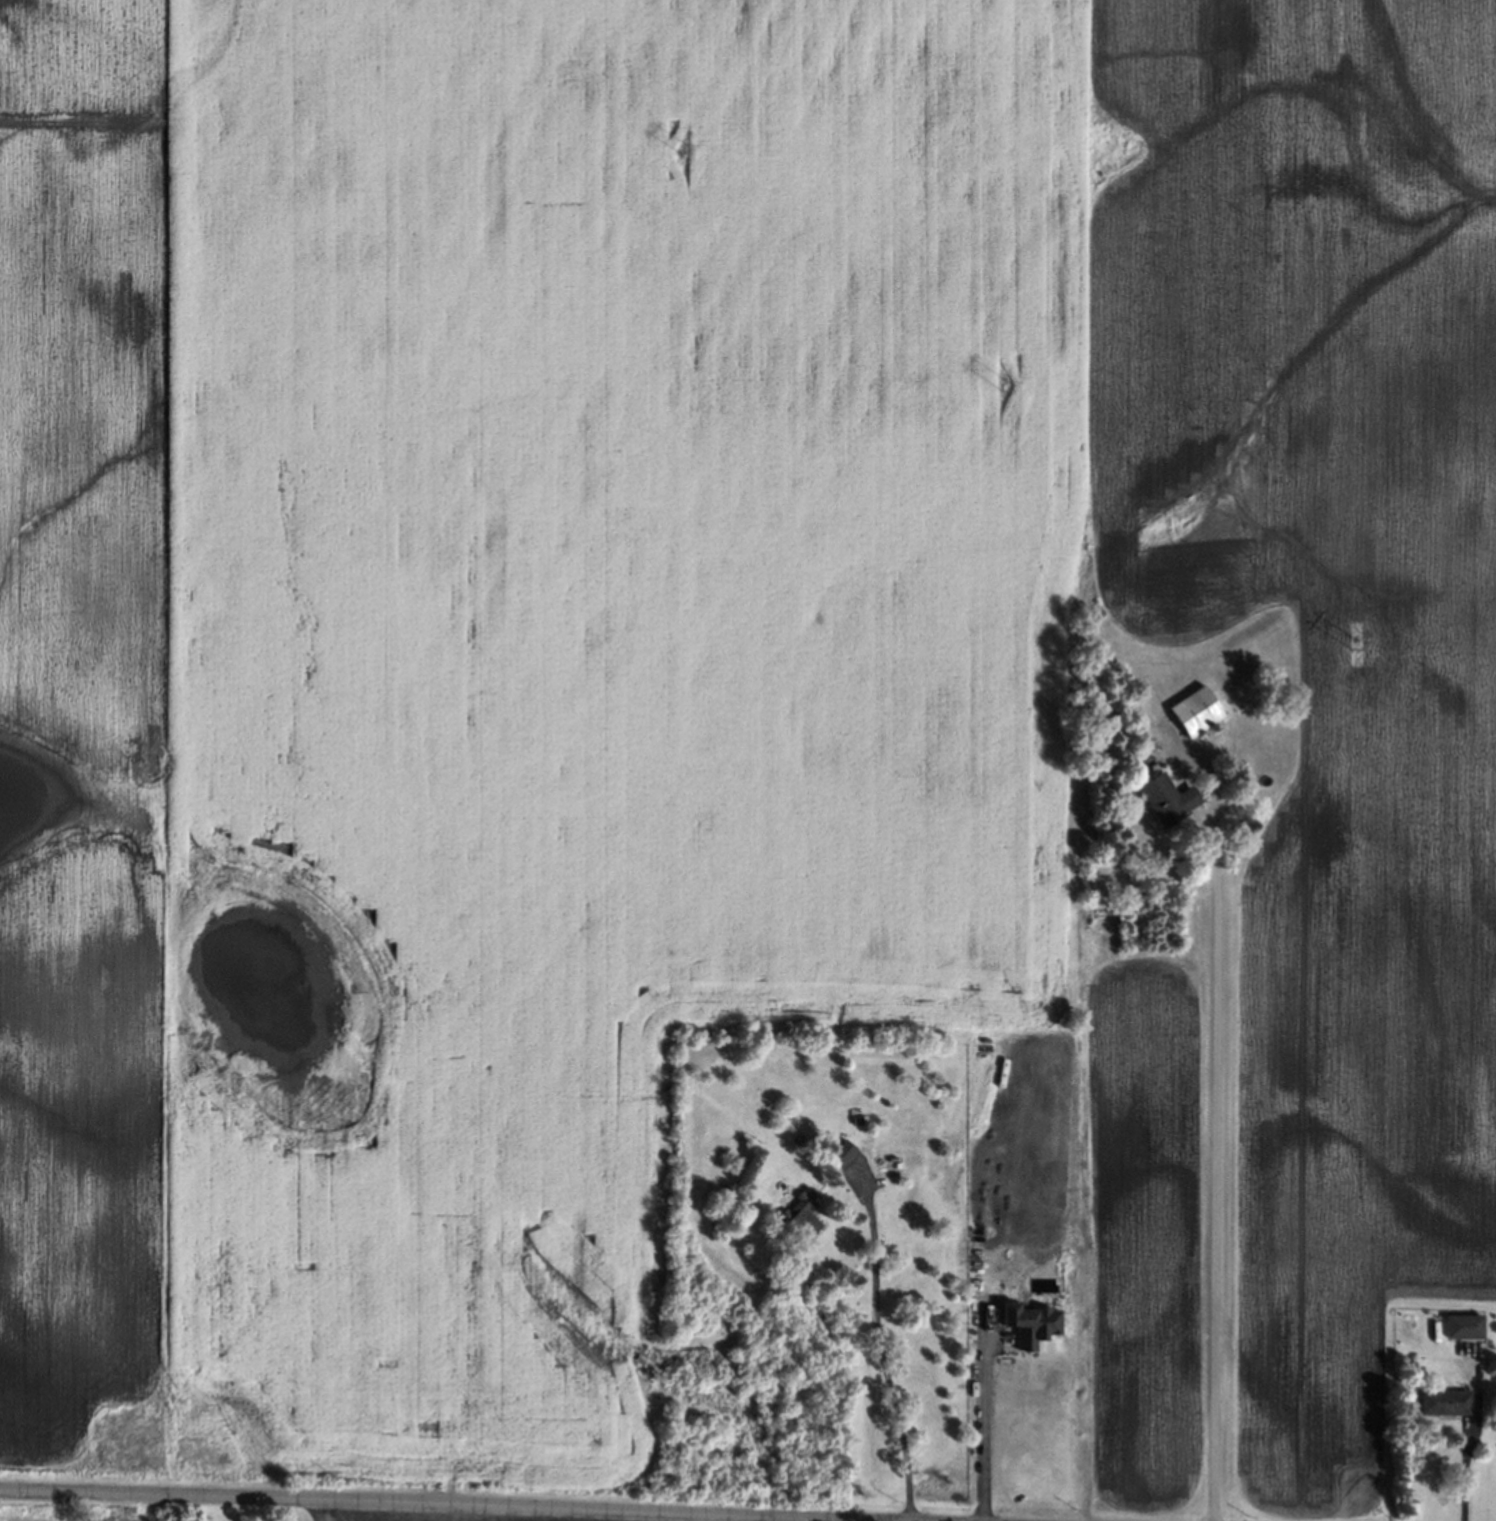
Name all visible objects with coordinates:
crop: (1324, 634)
building: (1194, 712)
building: (1166, 800)
building: (853, 1121)
building: (838, 1148)
road: (1214, 1159)
building: (796, 1215)
building: (1029, 1324)
building: (1462, 1327)
road: (876, 1348)
building: (1442, 1403)
road: (981, 1426)
road: (1465, 1446)
road: (453, 1504)
road: (314, 1511)
road: (370, 1511)
park: (332, 1515)
road: (580, 1515)
parking lot: (436, 1516)
road: (712, 1517)

